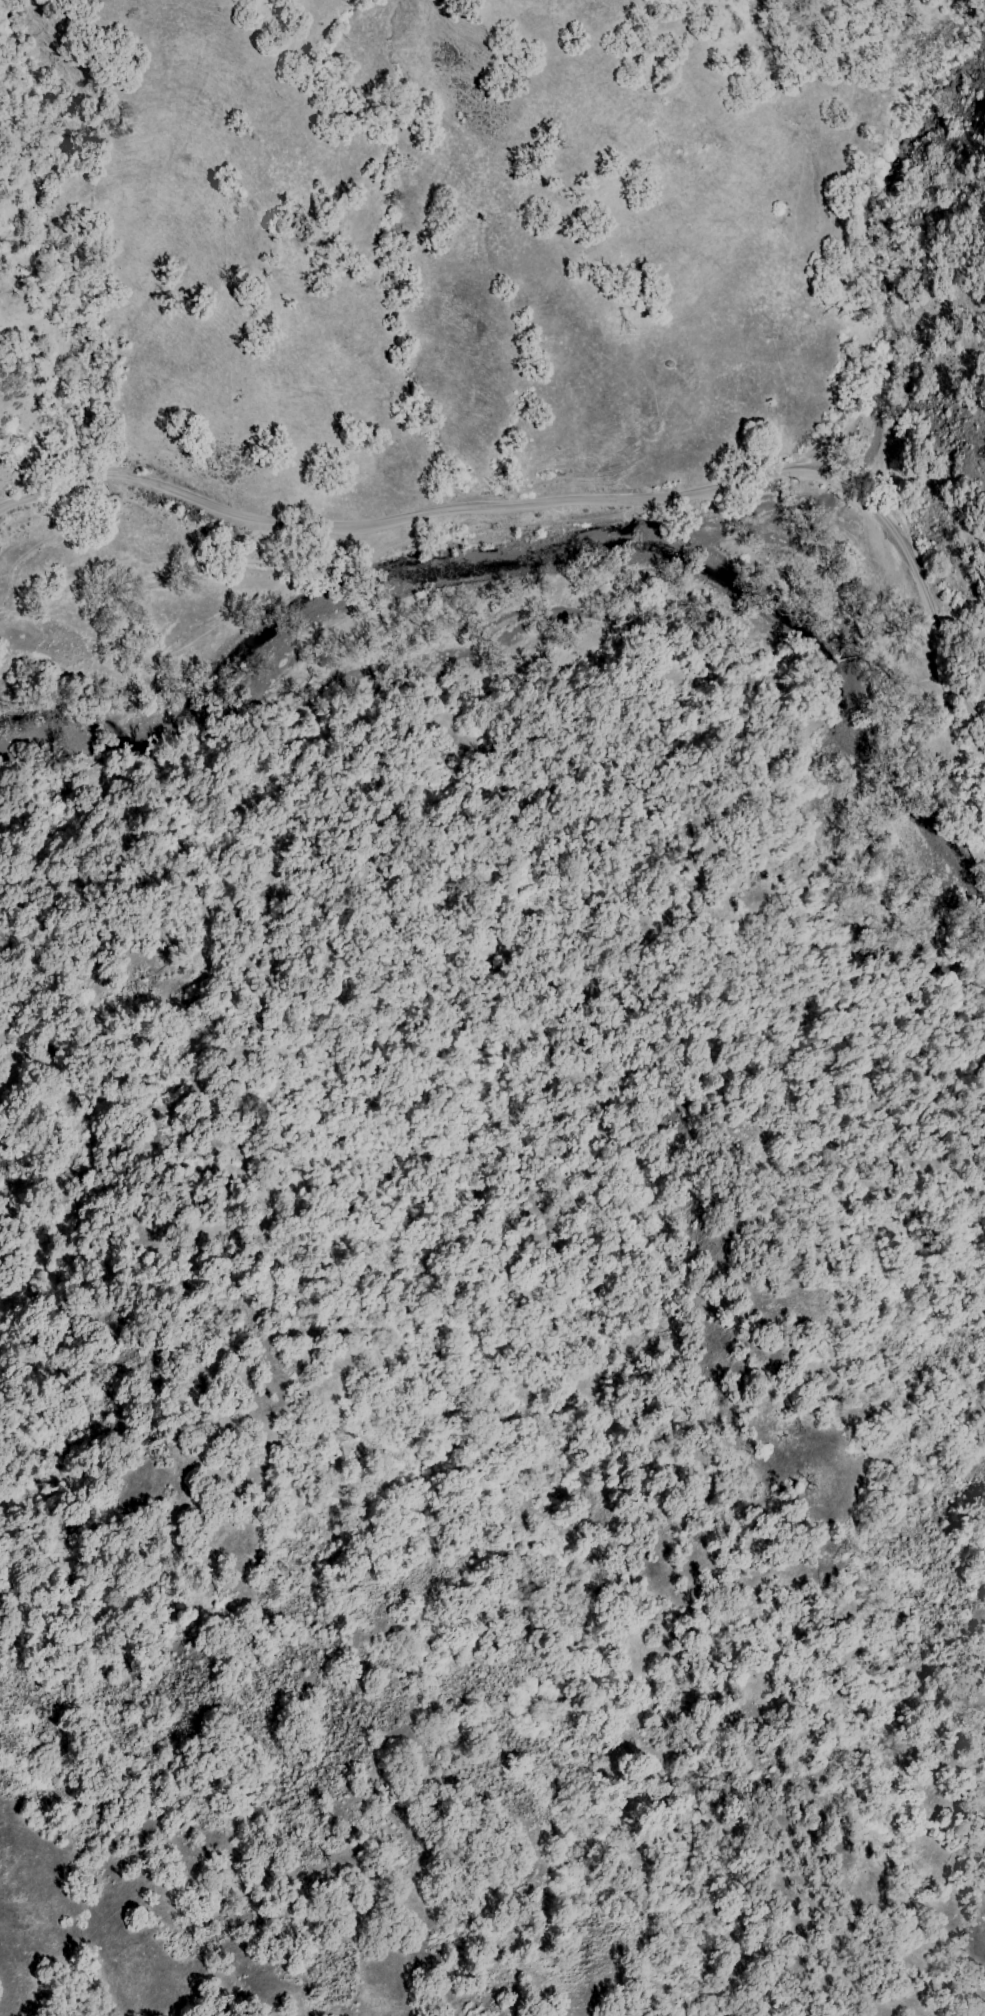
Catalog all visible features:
road: (50, 457)
road: (51, 491)
road: (616, 500)
river: (370, 651)
river: (856, 752)

